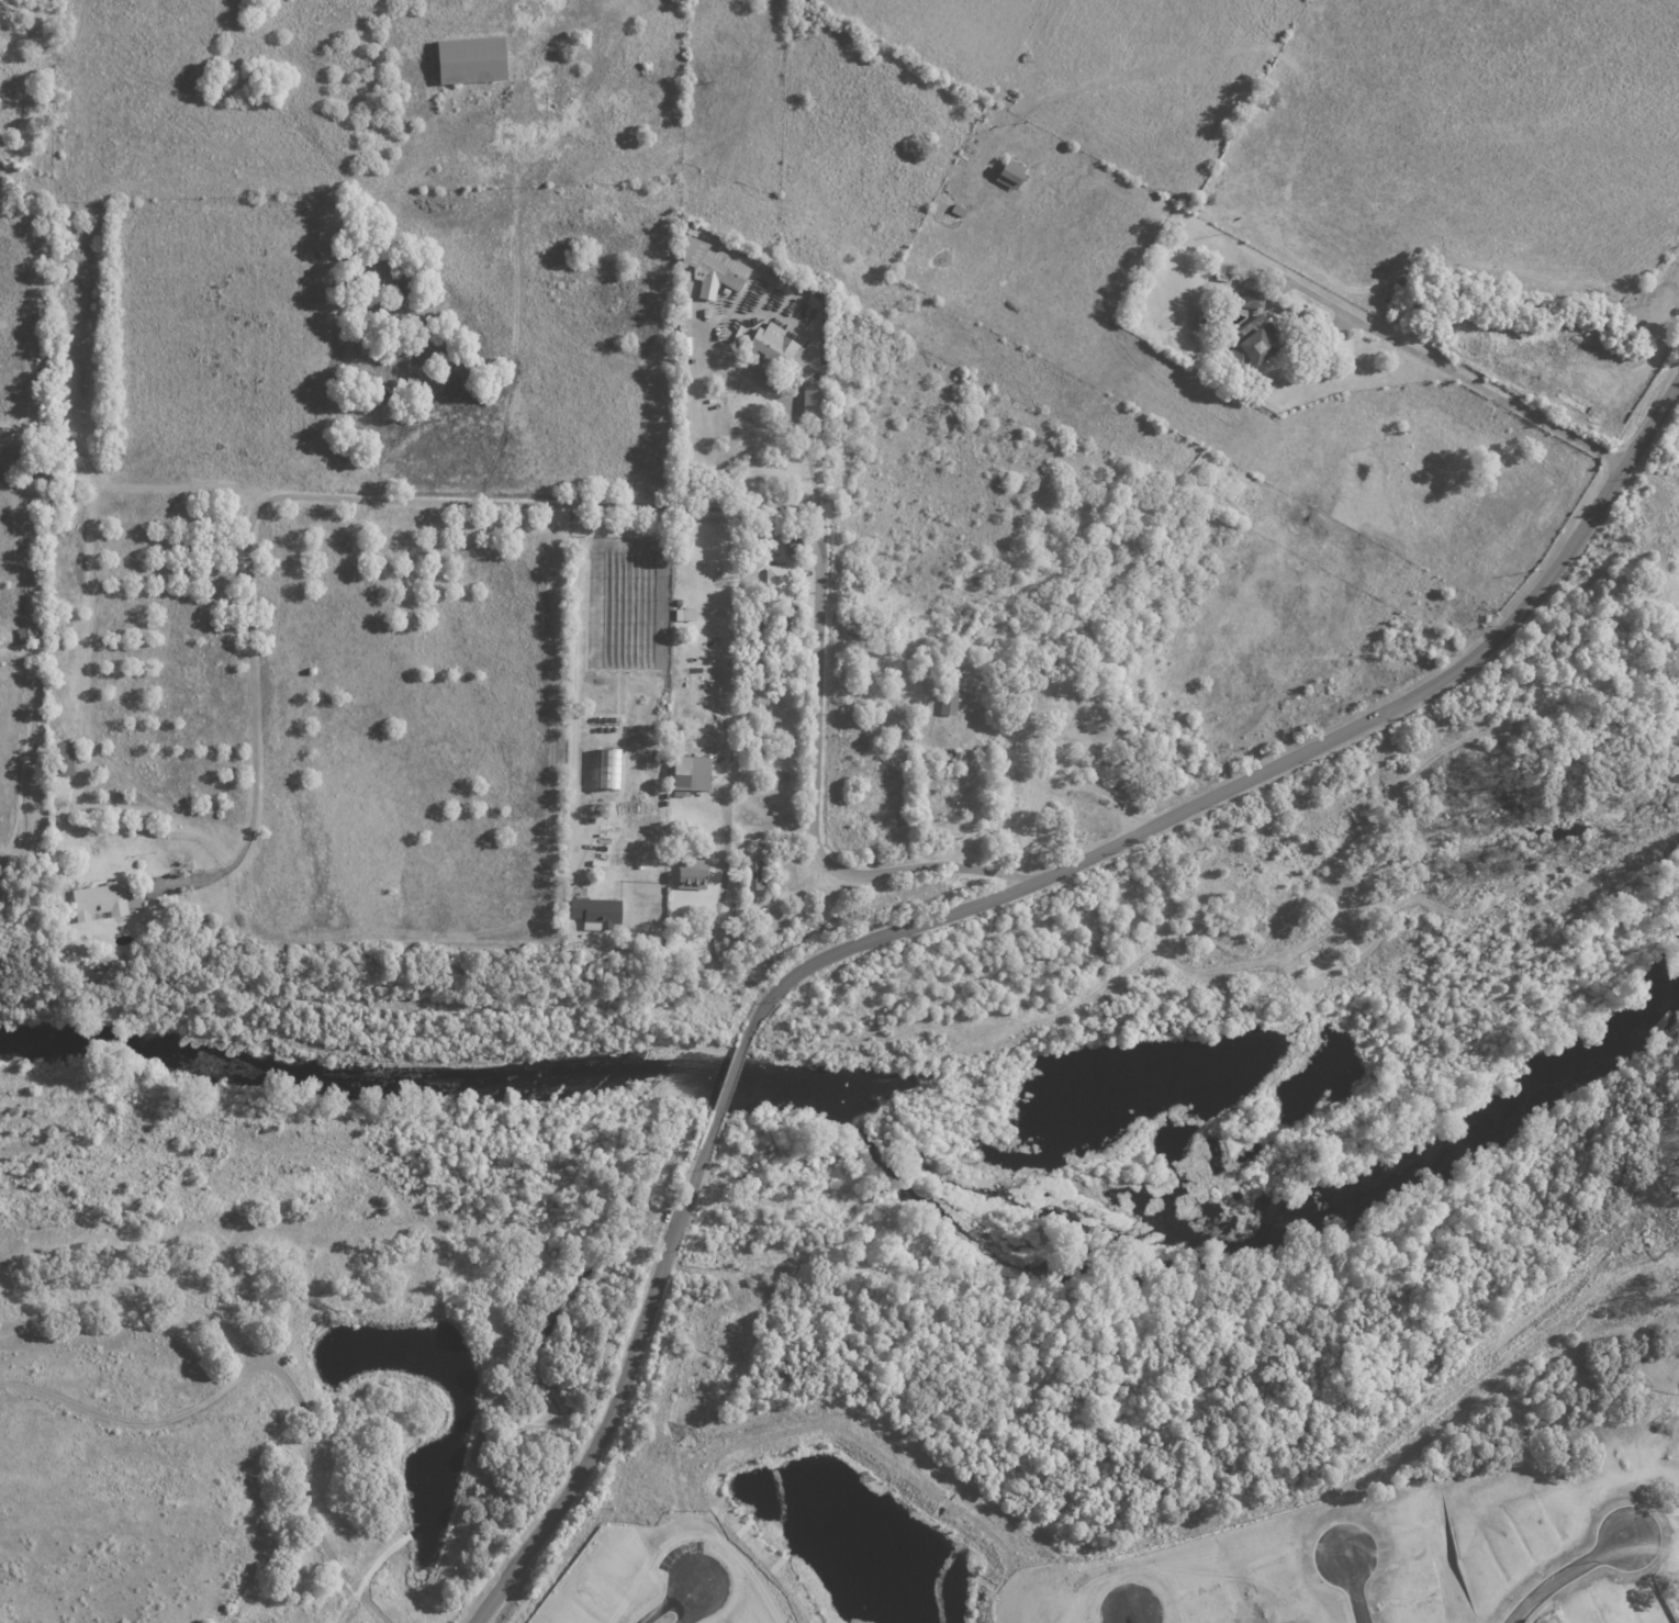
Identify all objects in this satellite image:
building: (473, 61)
building: (1014, 176)
building: (960, 210)
building: (1213, 259)
building: (714, 267)
building: (1220, 278)
building: (813, 304)
building: (686, 307)
building: (1251, 327)
building: (774, 345)
building: (686, 346)
road: (1458, 374)
road: (695, 393)
building: (816, 402)
building: (36, 469)
building: (53, 495)
road: (279, 497)
building: (794, 547)
building: (780, 589)
building: (685, 617)
building: (790, 619)
building: (773, 629)
building: (27, 636)
road: (814, 654)
building: (774, 667)
building: (952, 689)
road: (571, 692)
road: (726, 730)
building: (951, 755)
building: (66, 760)
road: (1260, 774)
building: (691, 775)
park: (1095, 826)
building: (779, 840)
building: (694, 873)
building: (754, 874)
building: (107, 899)
road: (781, 900)
building: (597, 913)
road: (729, 1076)
park: (244, 1332)
road: (622, 1381)
road: (305, 1503)
road: (1564, 1575)
road: (1353, 1588)
road: (686, 1591)
road: (1126, 1618)
road: (1129, 1618)

